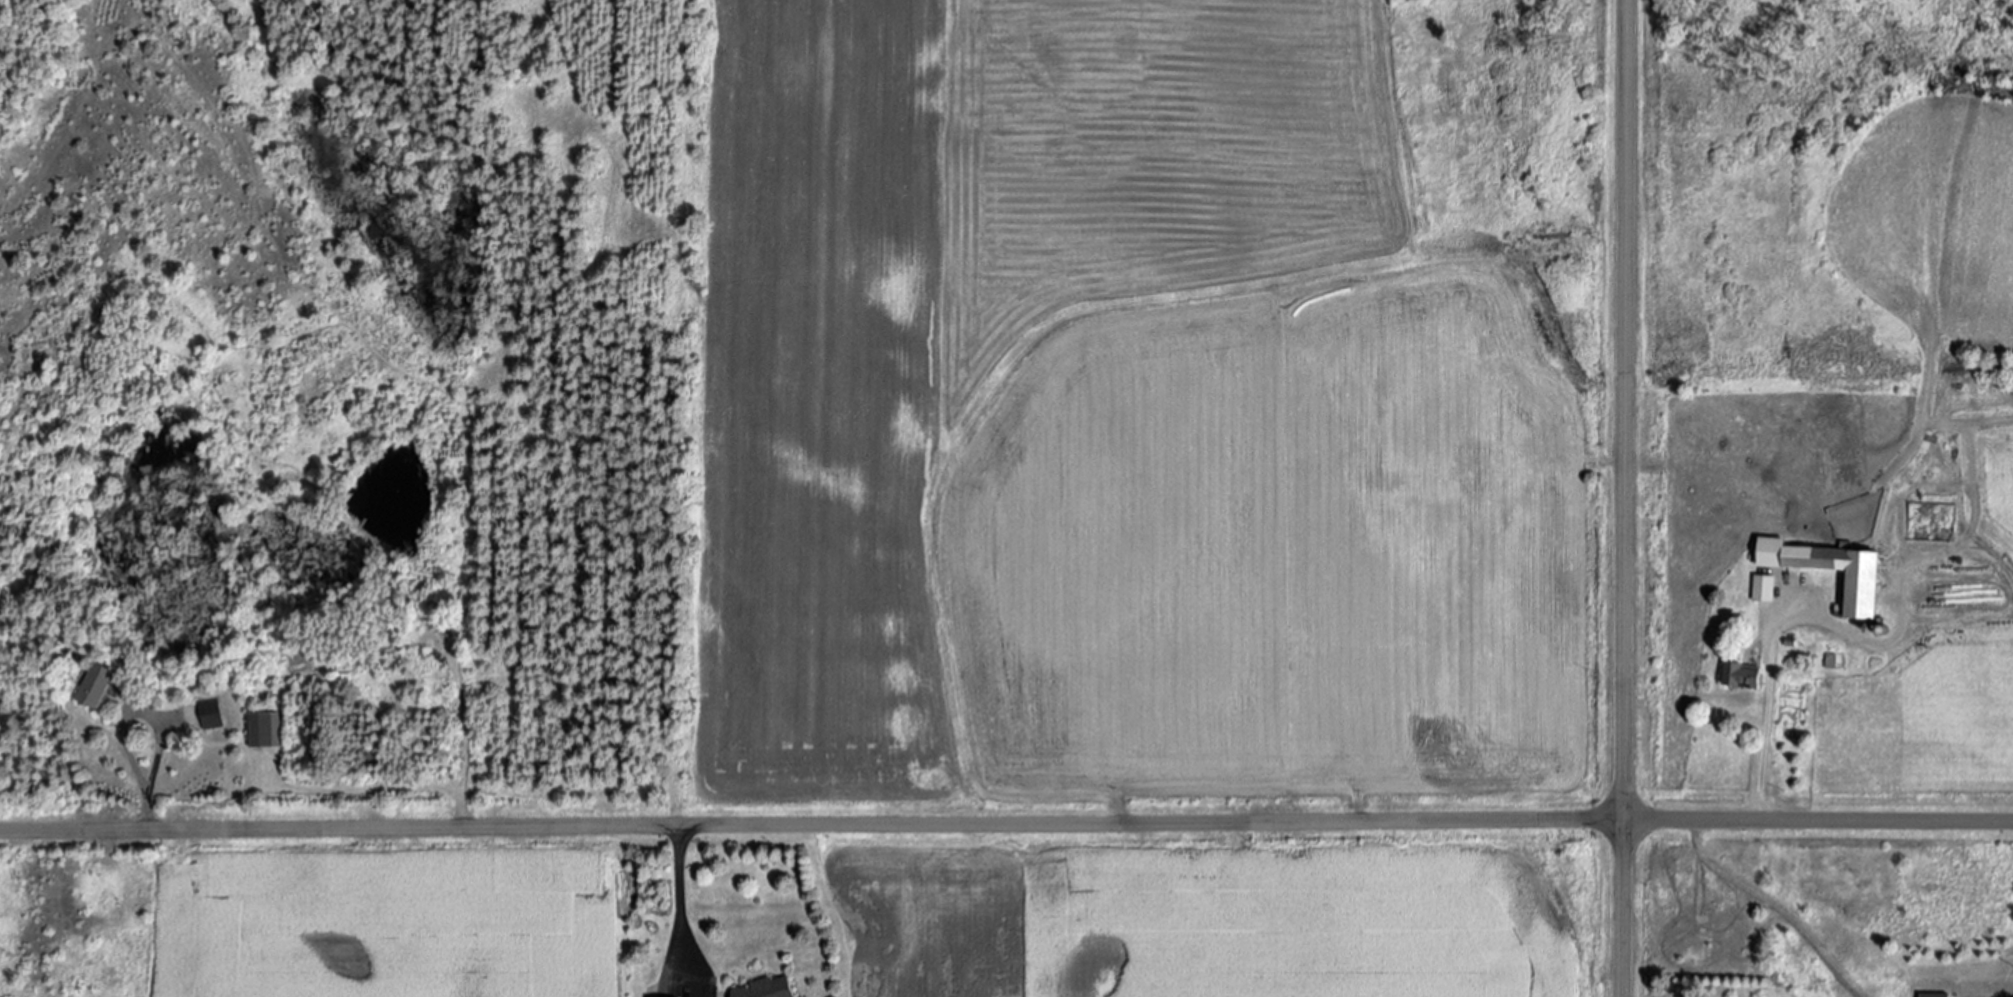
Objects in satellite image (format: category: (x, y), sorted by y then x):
road: (1623, 498)
building: (1765, 587)
building: (1865, 587)
road: (1775, 630)
building: (98, 685)
building: (211, 713)
road: (127, 716)
building: (266, 729)
road: (379, 789)
road: (1006, 824)
road: (678, 895)
building: (768, 988)
building: (1936, 995)

